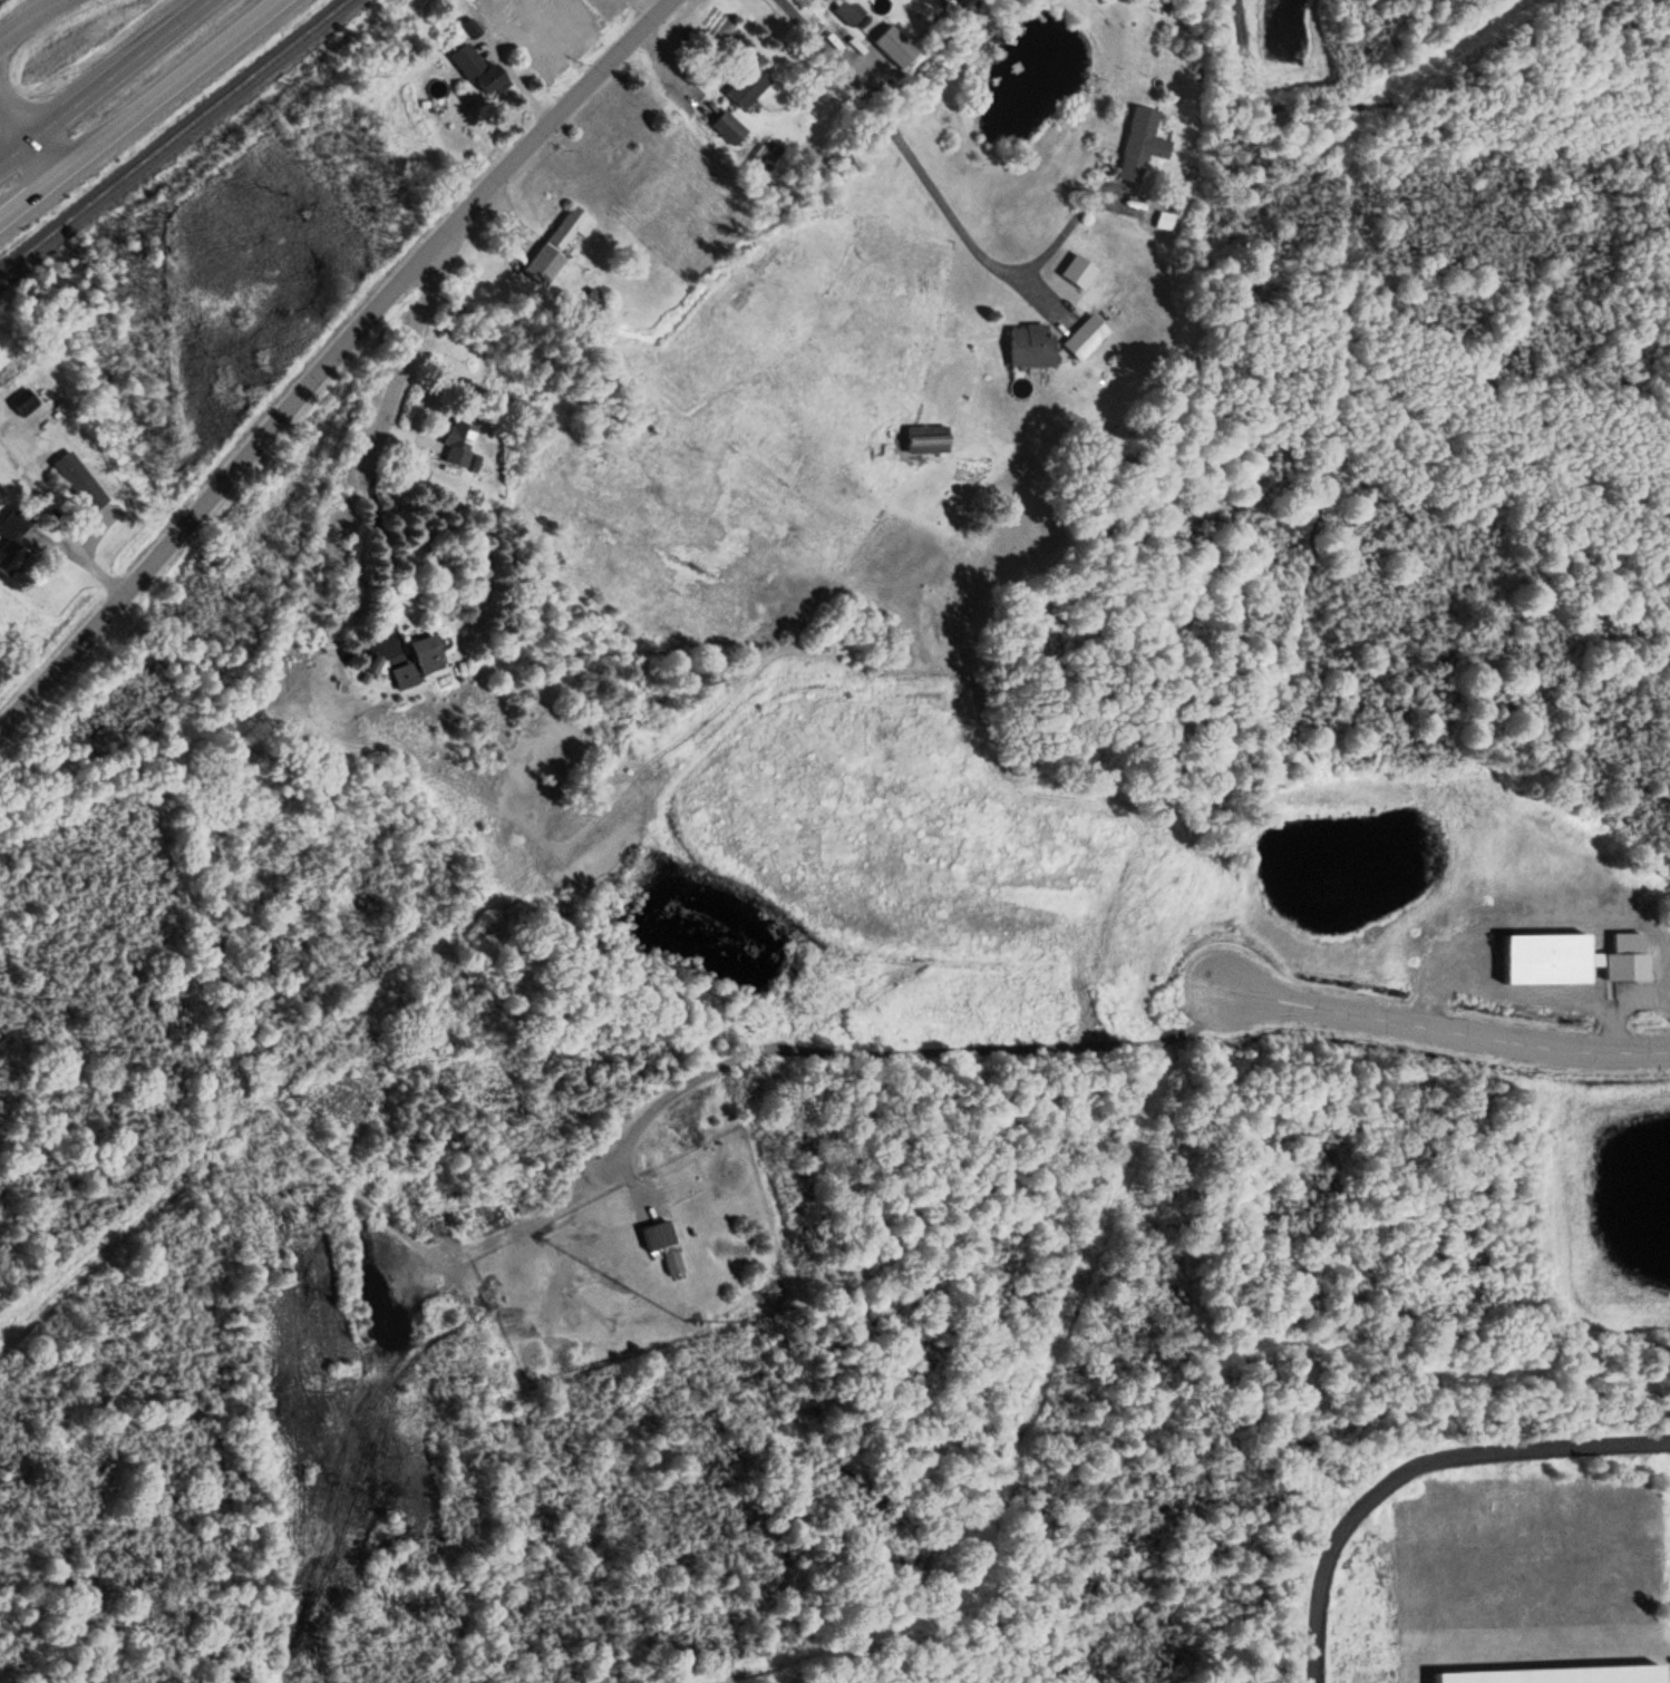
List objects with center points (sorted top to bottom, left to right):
building: (1168, 3)
building: (849, 10)
road: (26, 18)
road: (1236, 27)
building: (894, 43)
building: (480, 70)
road: (101, 80)
building: (748, 84)
road: (135, 106)
road: (31, 119)
building: (729, 126)
railway: (173, 136)
building: (1142, 142)
road: (928, 183)
building: (559, 242)
building: (593, 296)
building: (1085, 335)
building: (1030, 343)
road: (407, 351)
road: (329, 354)
building: (26, 403)
building: (926, 438)
building: (457, 441)
building: (78, 479)
building: (13, 539)
park: (1418, 552)
building: (427, 652)
building: (404, 673)
building: (1570, 959)
road: (1449, 1030)
road: (902, 1050)
building: (620, 1207)
building: (671, 1257)
park: (1098, 1420)
road: (1412, 1465)
building: (1551, 1665)

